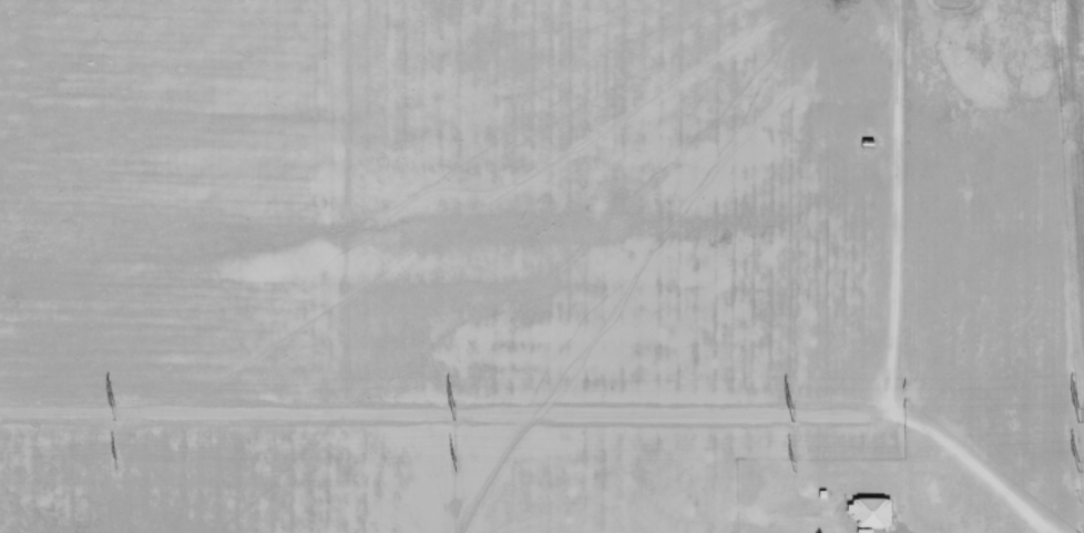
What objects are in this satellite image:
power tower: (115, 407)
power tower: (792, 407)
power tower: (1082, 407)
power tower: (454, 410)
power tower: (796, 458)
power tower: (457, 460)
power tower: (117, 462)
power tower: (1081, 462)
building: (873, 512)
building: (866, 531)

